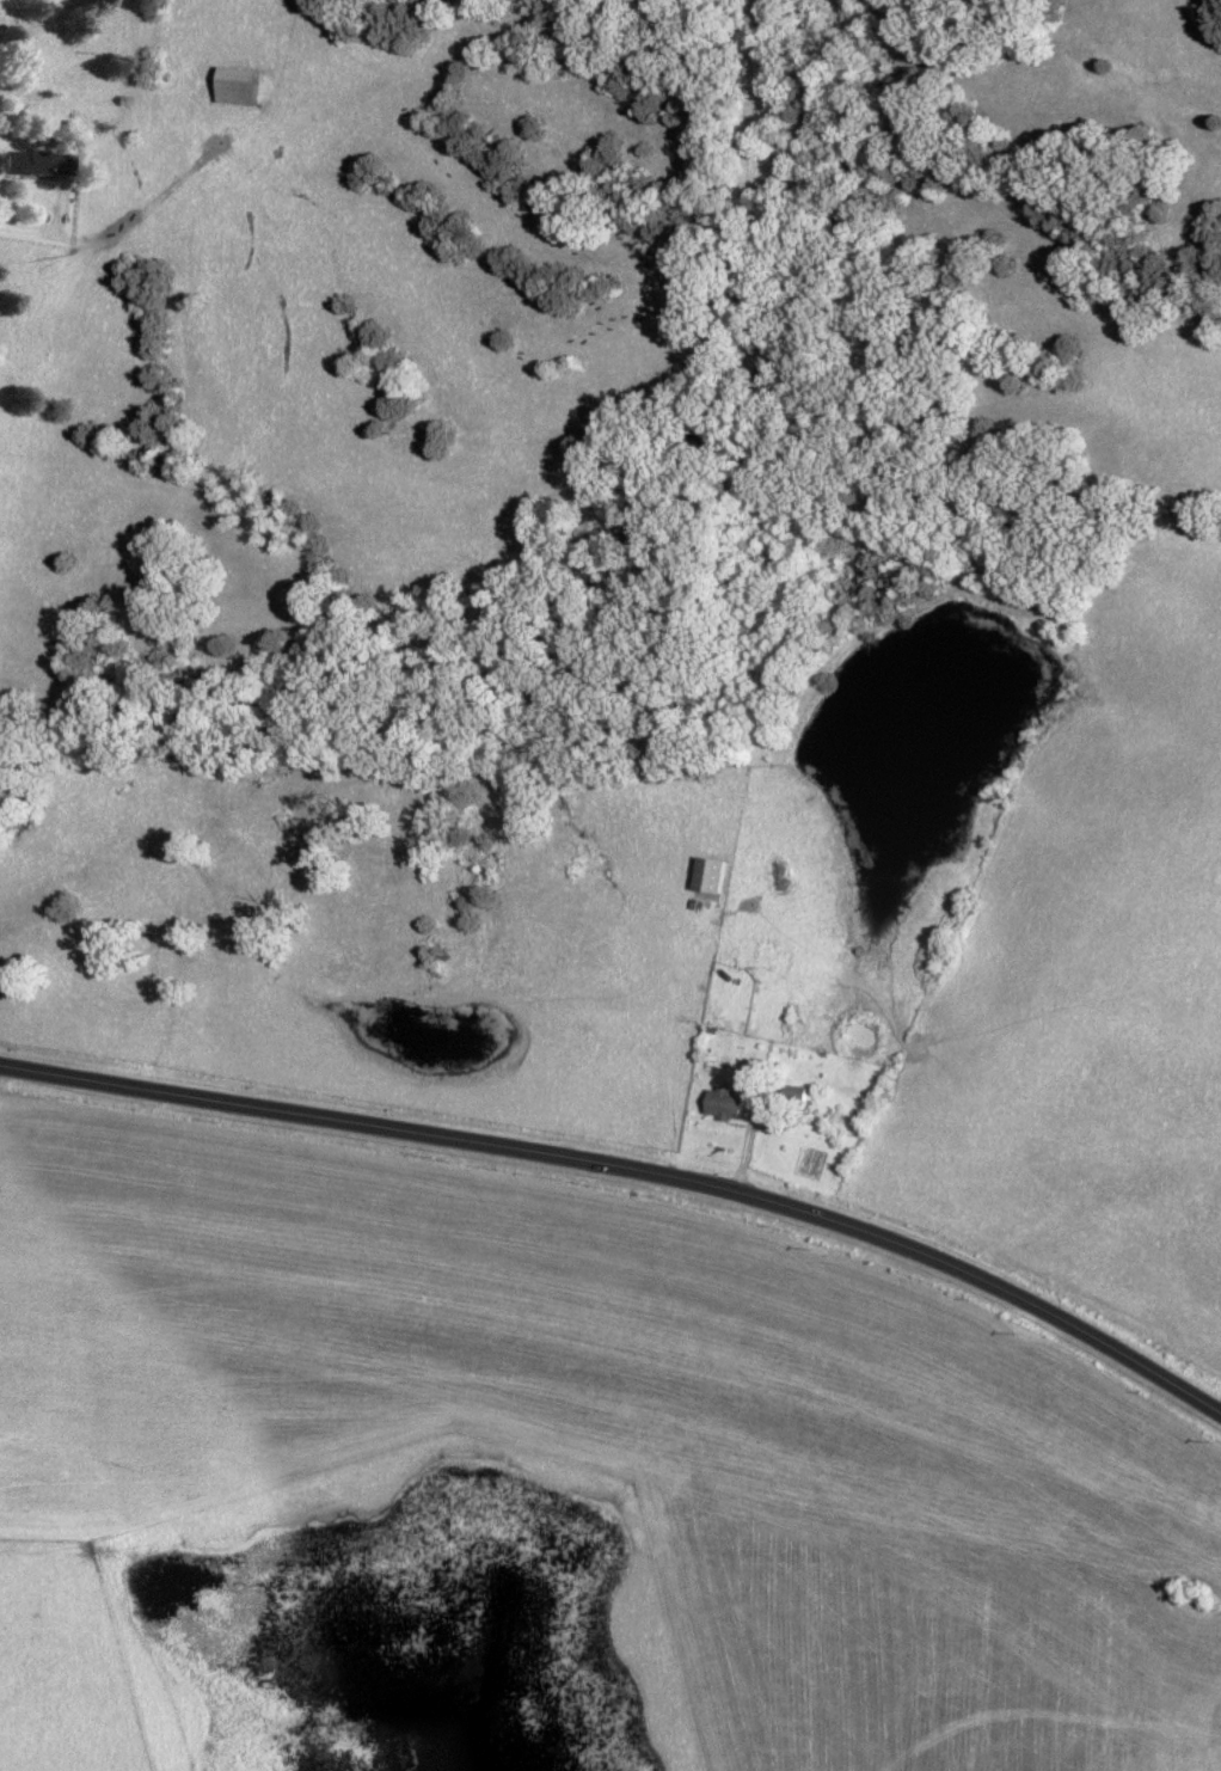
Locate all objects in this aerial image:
building: (239, 87)
building: (22, 164)
road: (23, 228)
building: (711, 877)
building: (765, 962)
building: (798, 1096)
building: (729, 1105)
road: (633, 1168)

